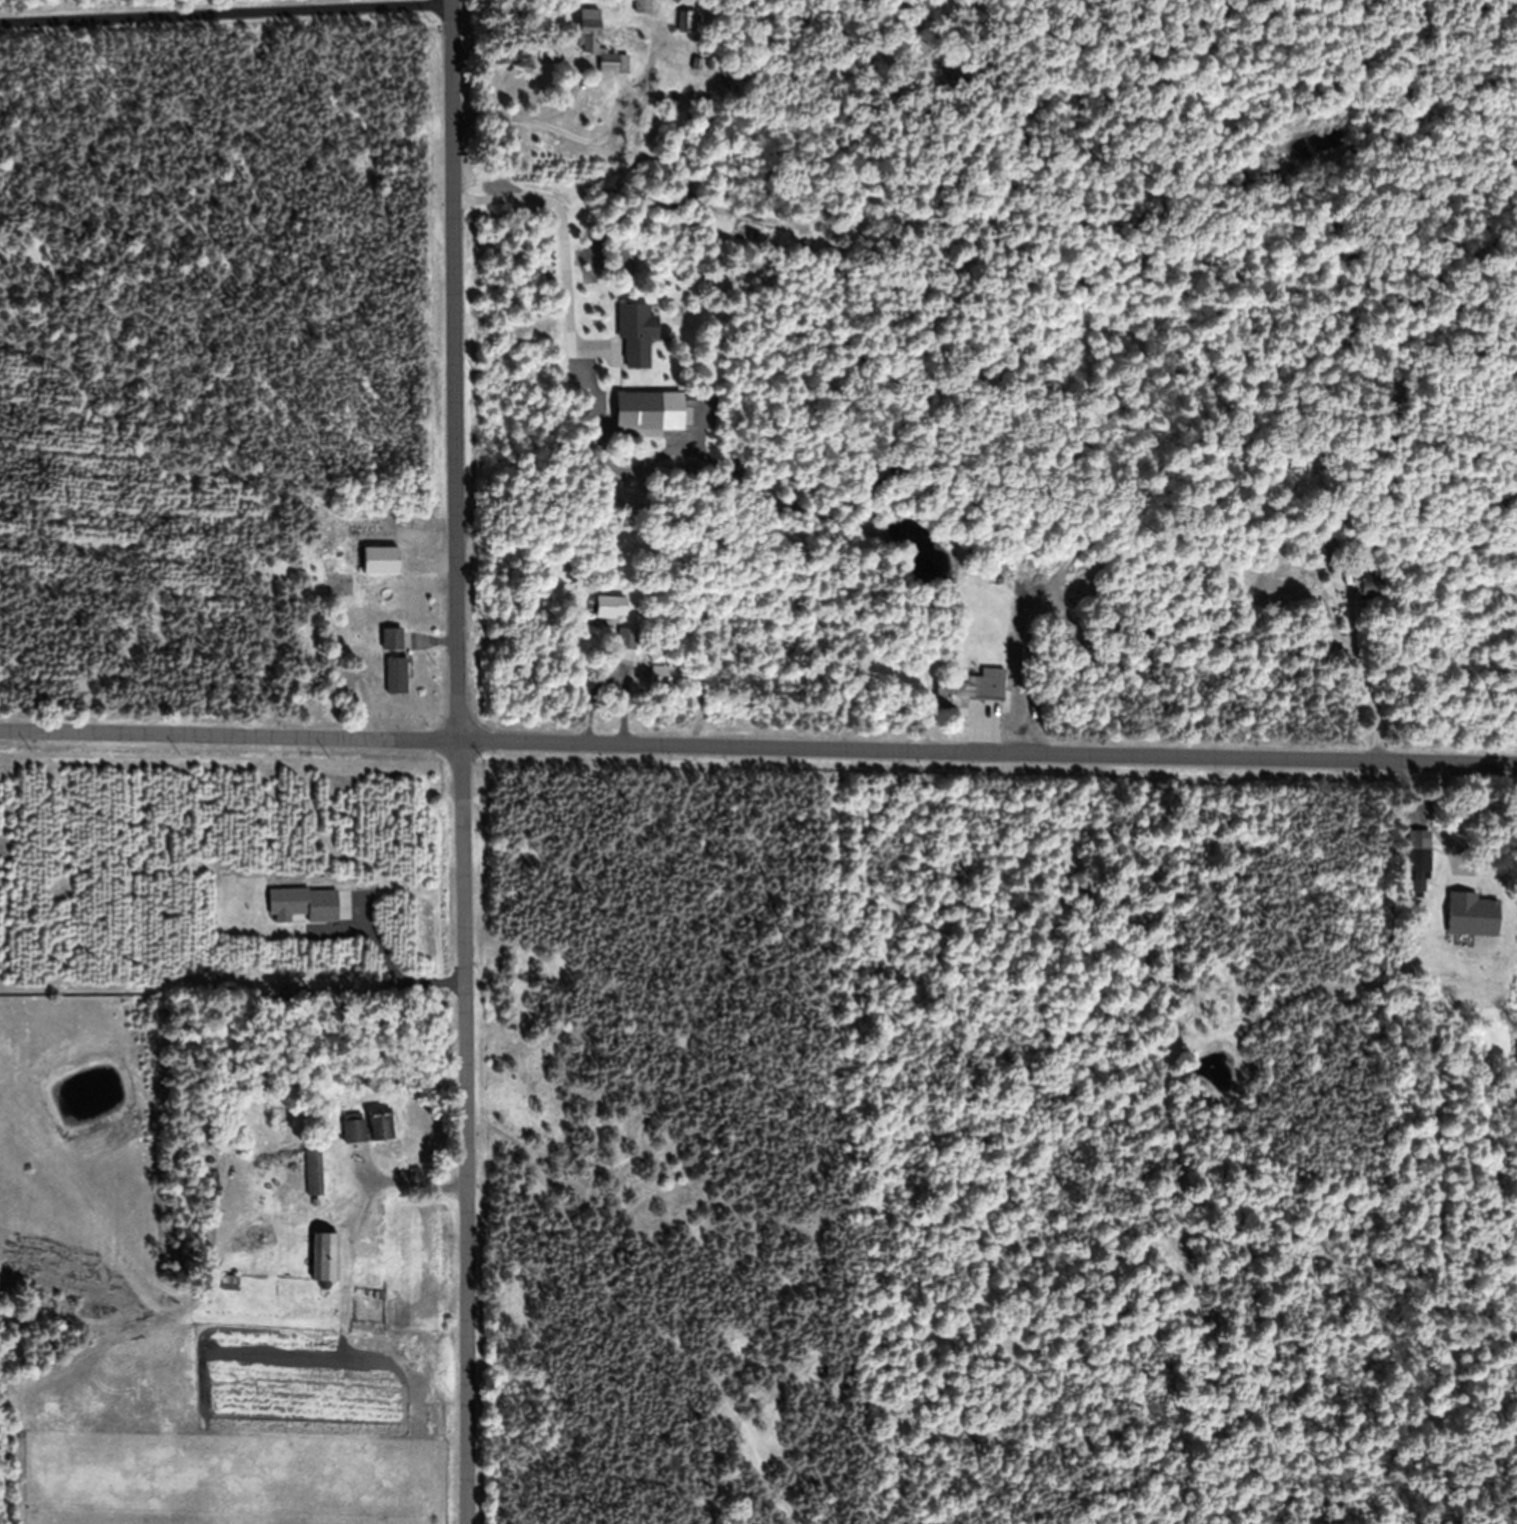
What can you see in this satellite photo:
building: (676, 1)
building: (642, 6)
road: (226, 11)
building: (685, 20)
building: (598, 44)
building: (636, 334)
building: (638, 415)
building: (381, 561)
building: (1337, 571)
building: (610, 608)
building: (392, 639)
building: (627, 640)
building: (662, 672)
building: (396, 676)
building: (970, 690)
road: (758, 747)
road: (463, 761)
building: (1419, 862)
building: (368, 1125)
building: (313, 1168)
building: (325, 1256)
building: (229, 1282)

